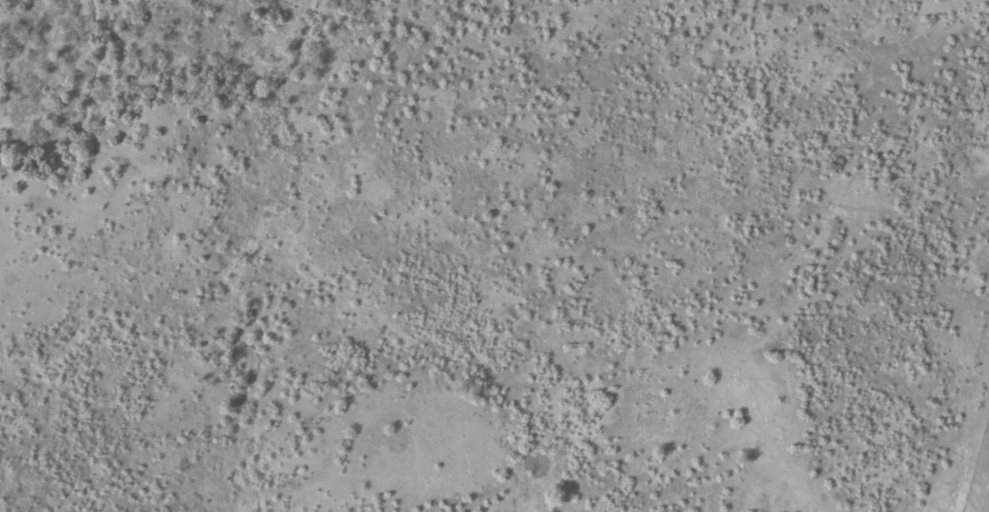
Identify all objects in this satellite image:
road: (988, 511)

